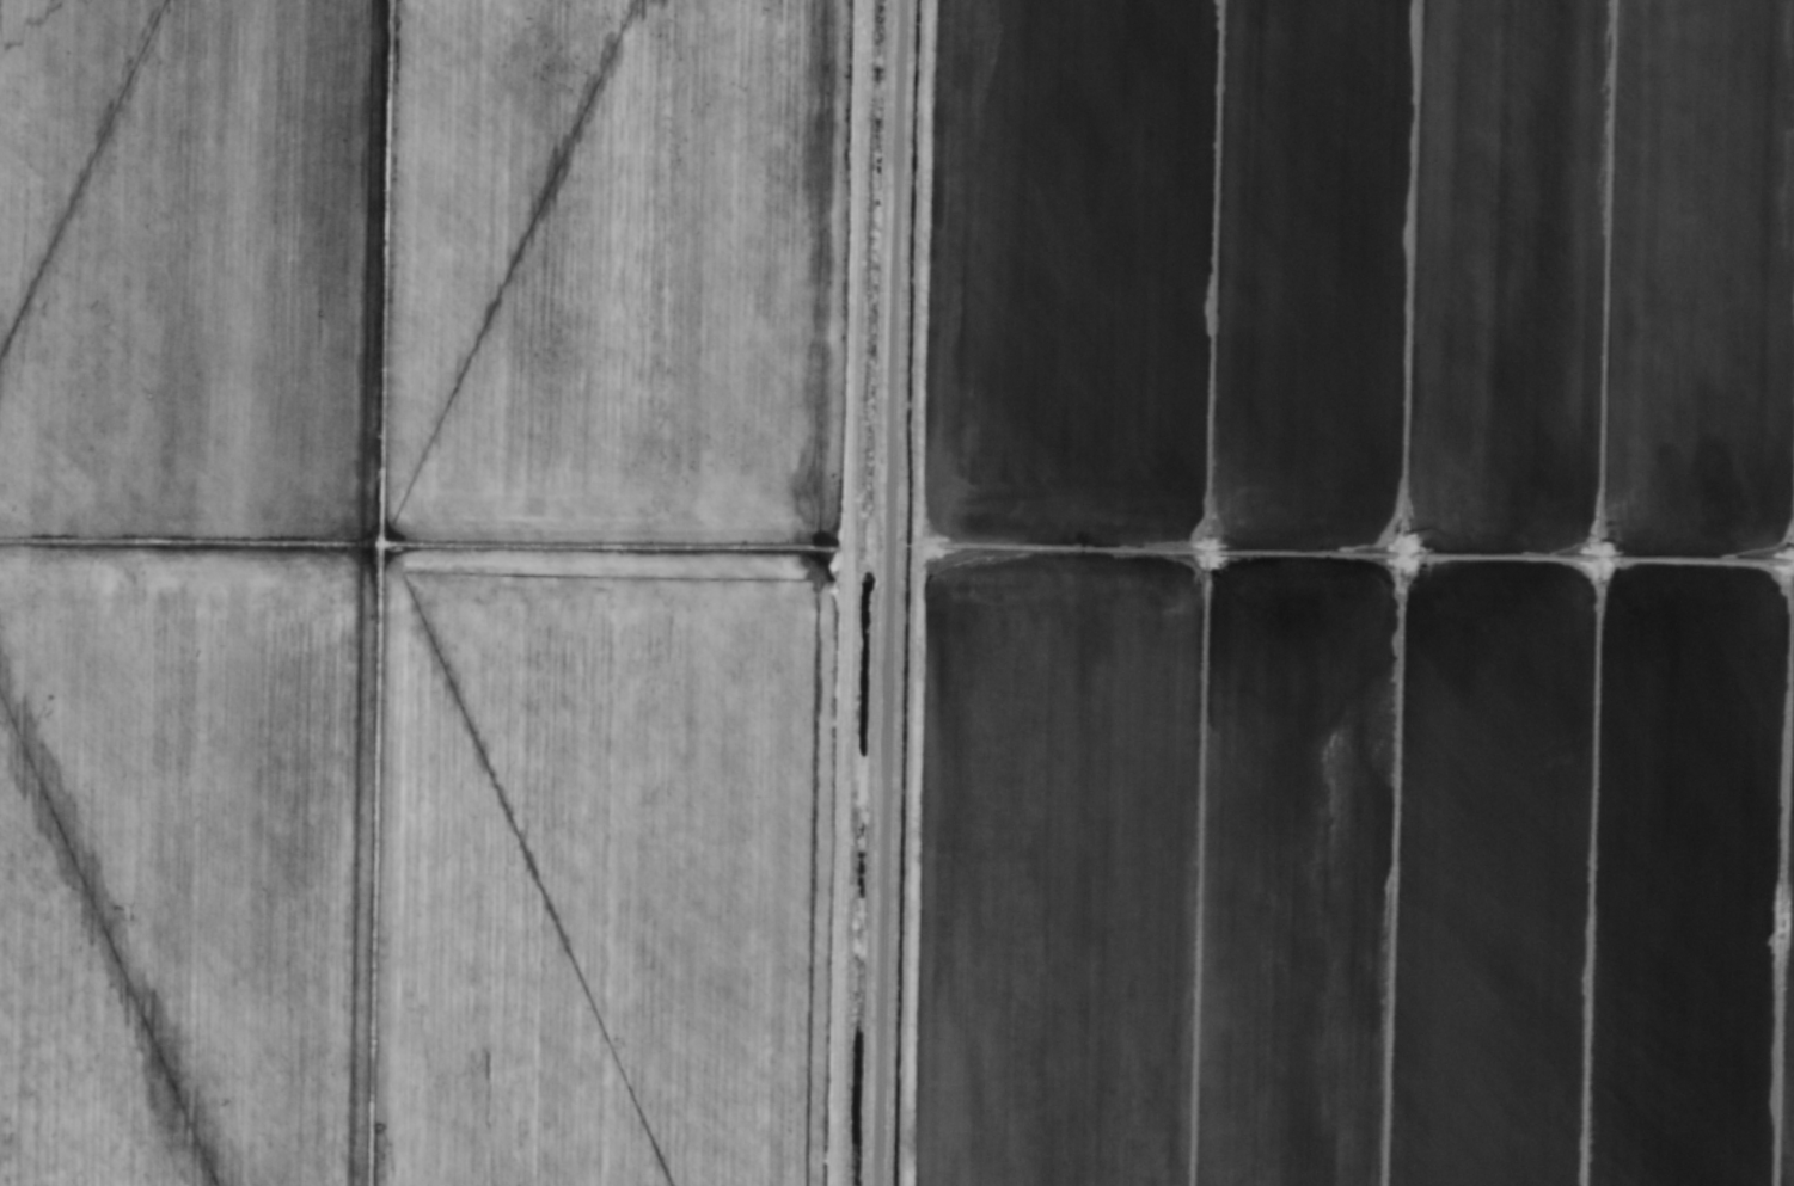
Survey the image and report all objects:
road: (887, 592)
crop: (896, 592)

